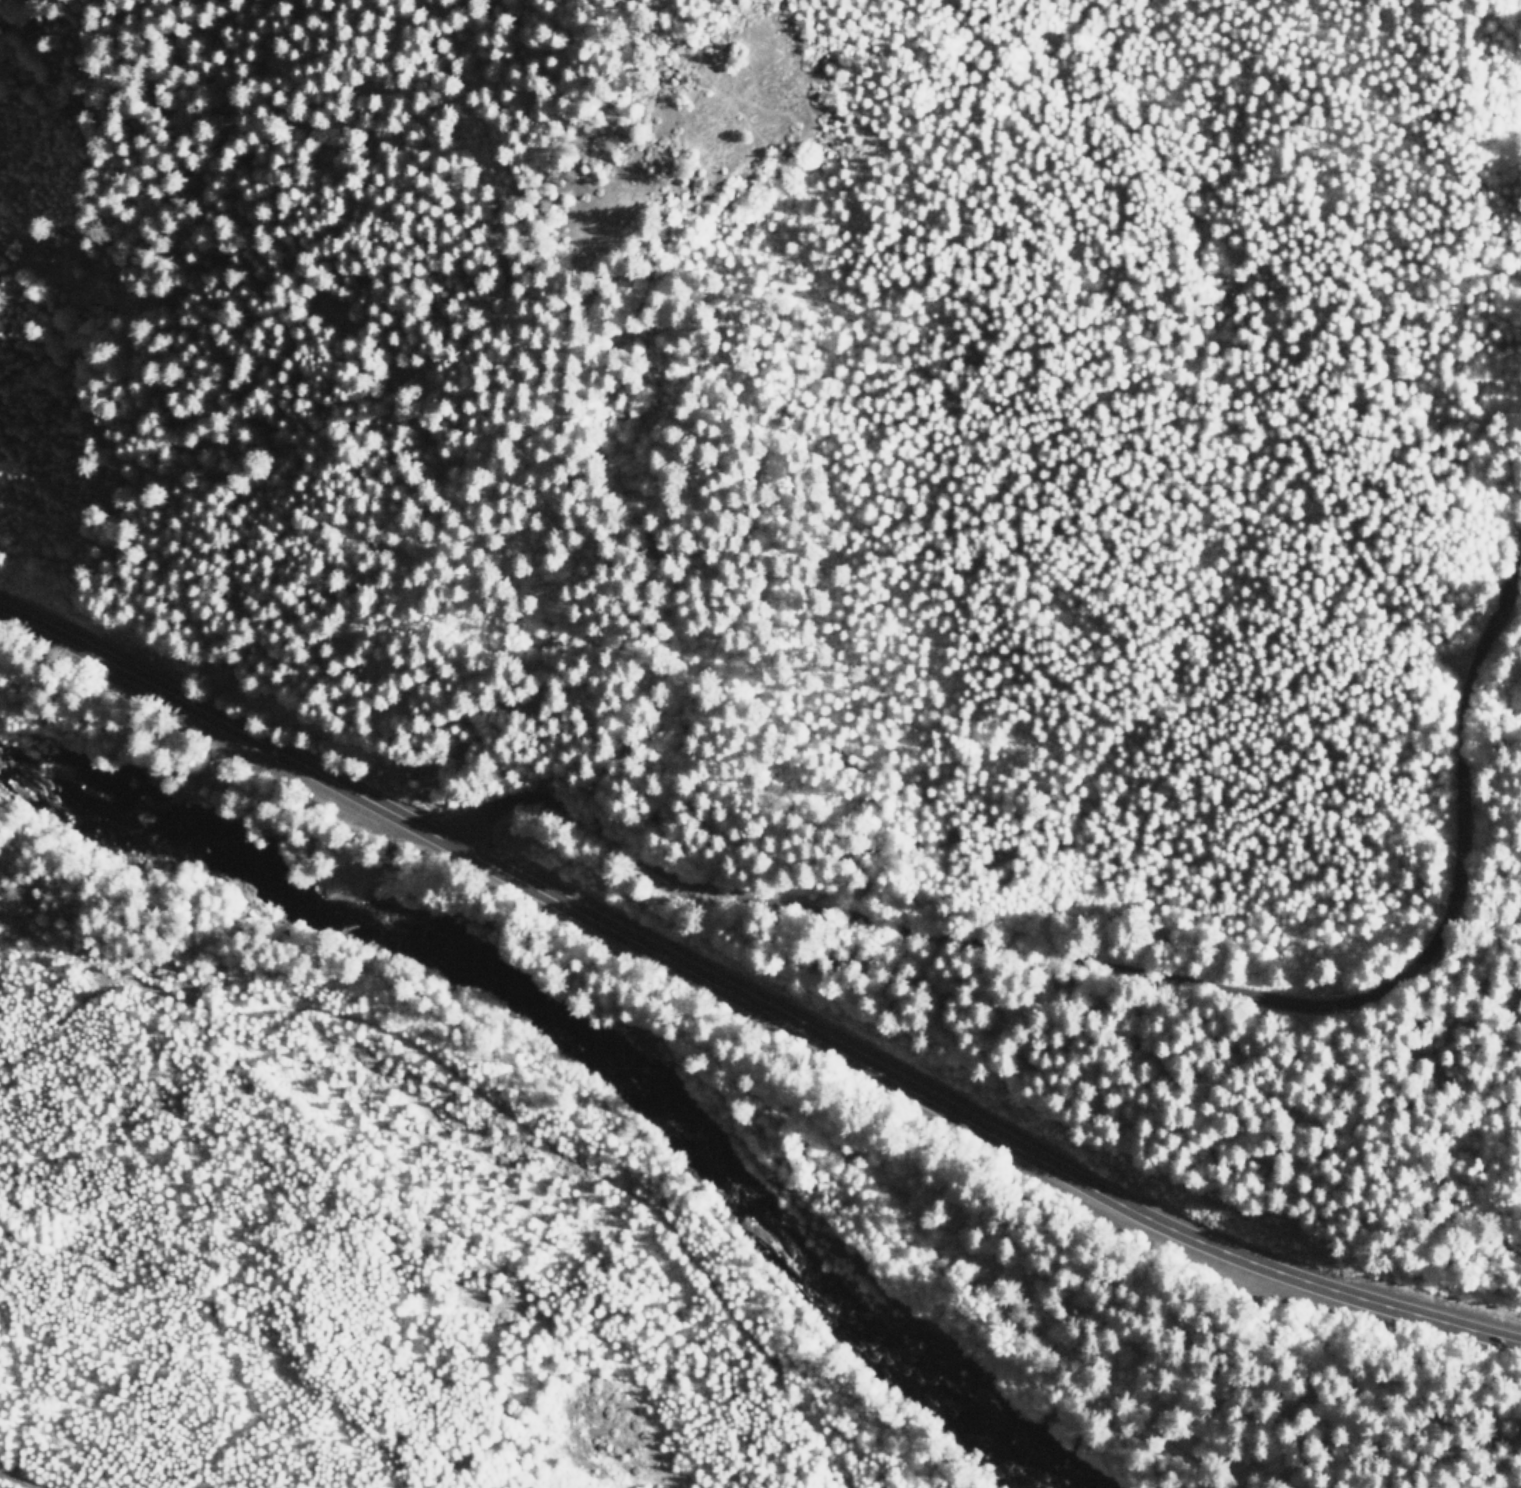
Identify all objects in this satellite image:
road: (1130, 979)
road: (748, 1009)
river: (587, 1045)

